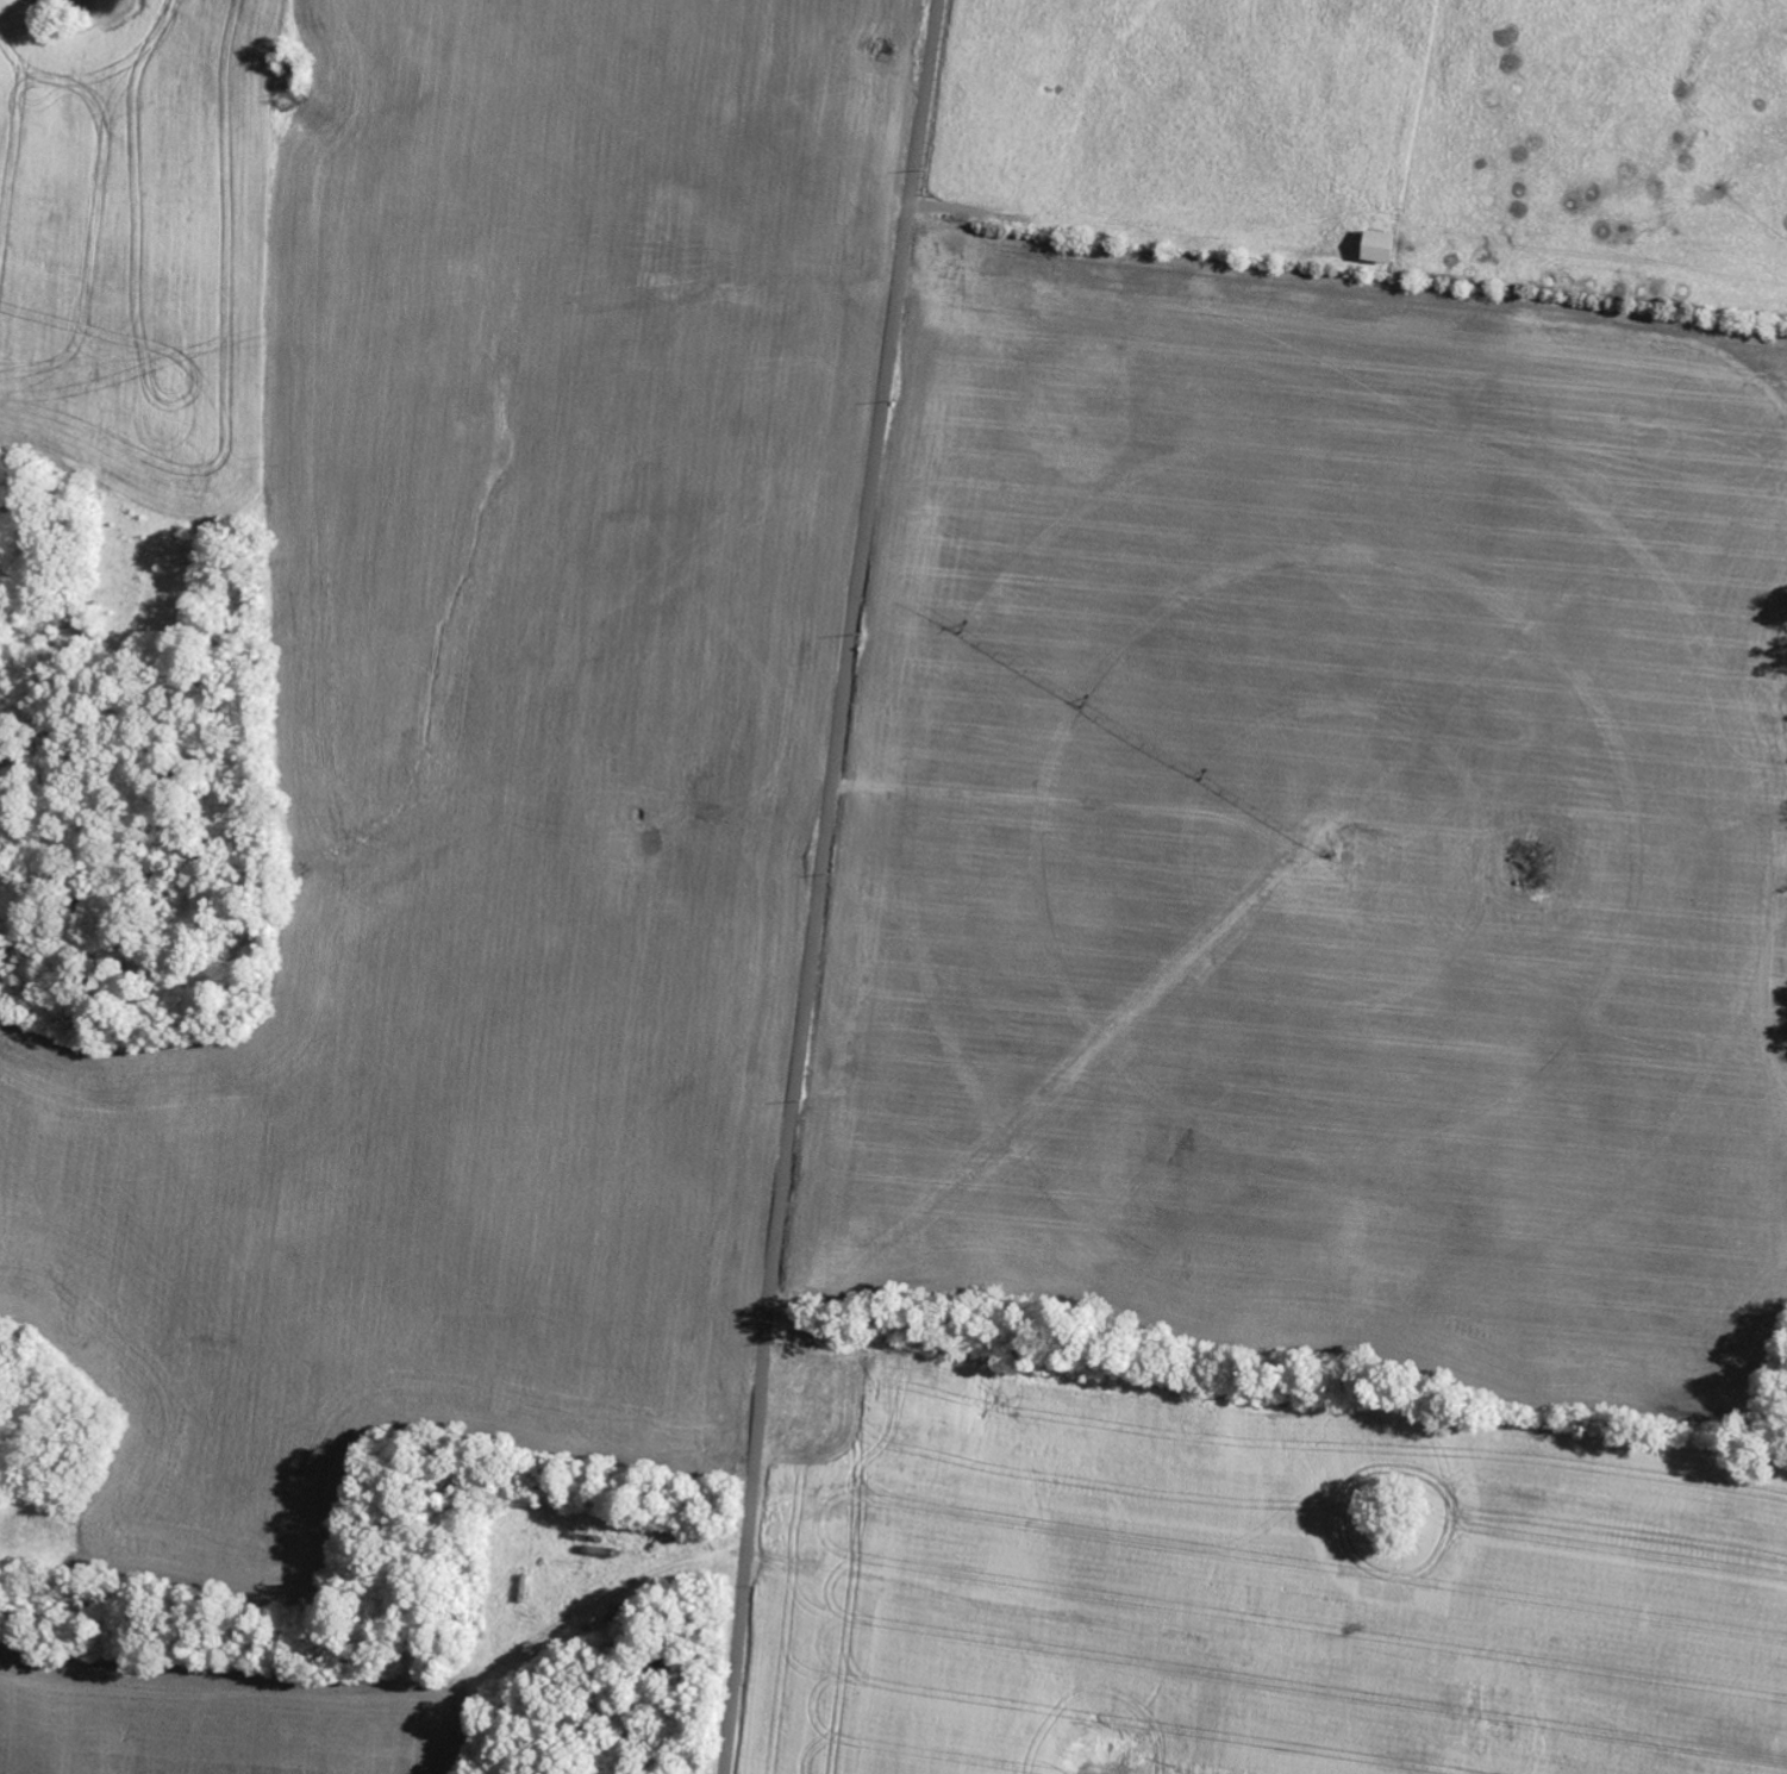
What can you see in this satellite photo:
building: (1382, 246)
road: (1067, 310)
road: (340, 366)
road: (818, 885)
road: (816, 1592)

